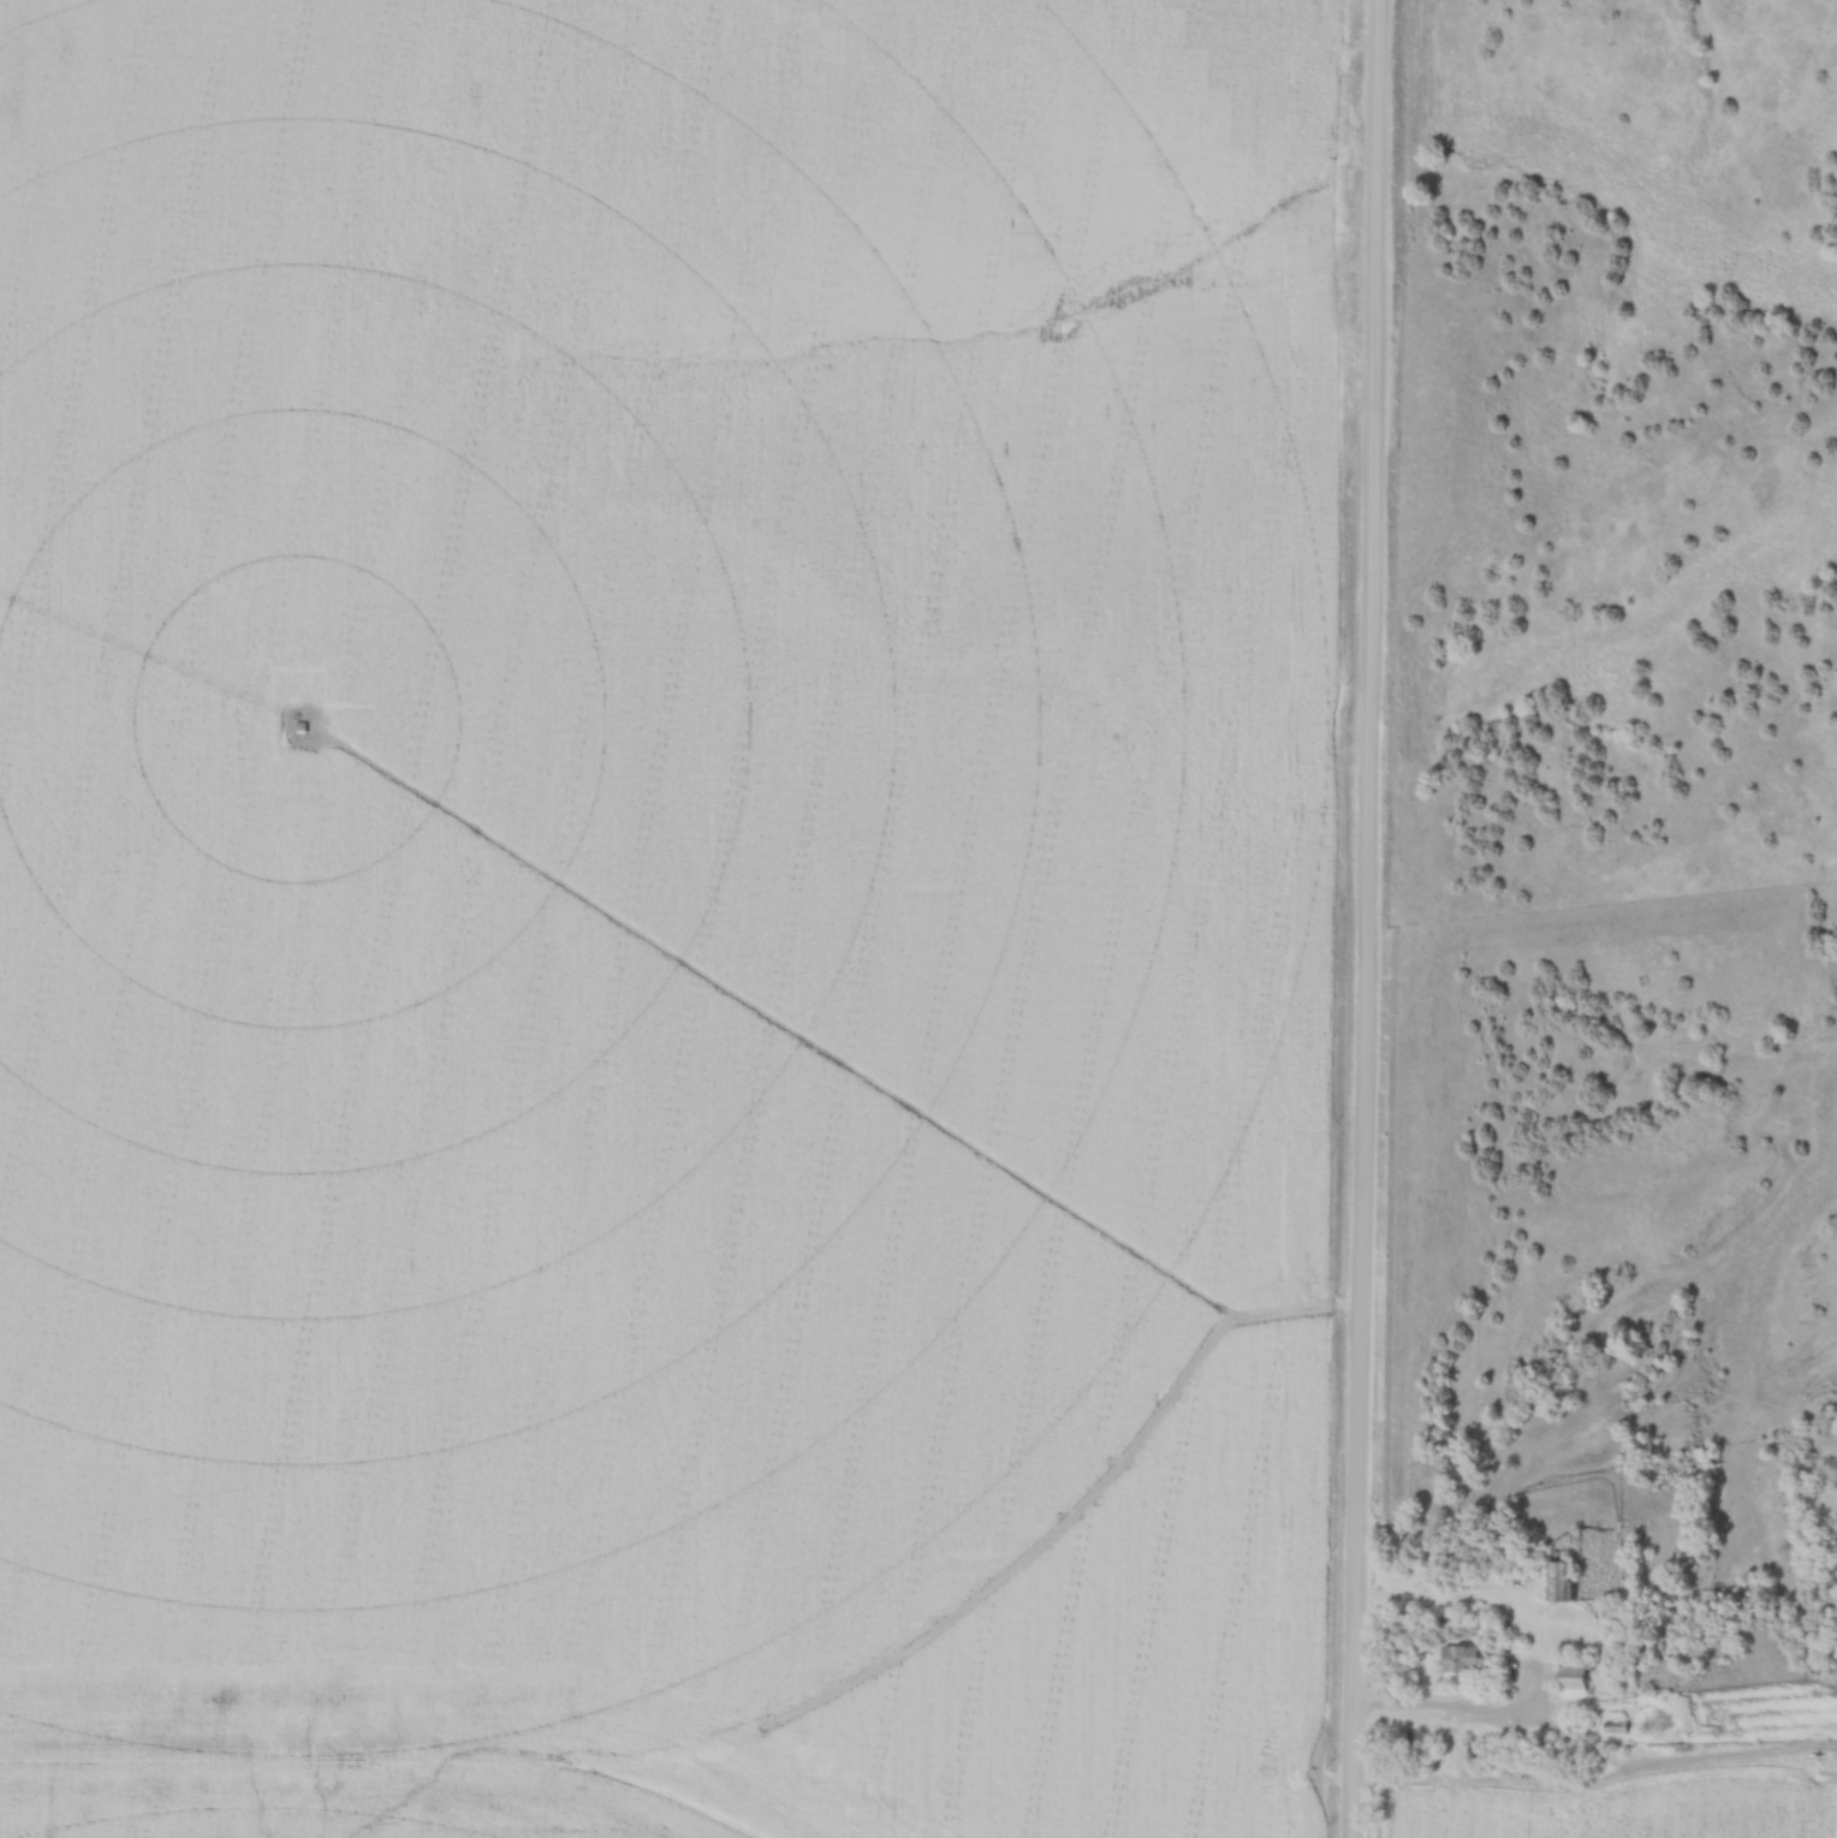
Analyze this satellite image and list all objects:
road: (1363, 918)
building: (1557, 1581)
building: (1461, 1659)
building: (1570, 1676)
building: (1425, 1755)

